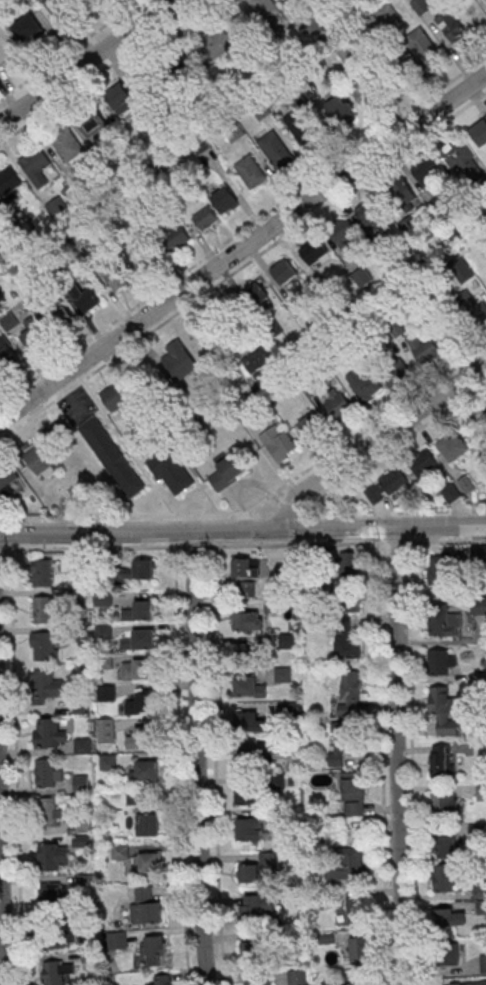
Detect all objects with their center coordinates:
road: (483, 4)
building: (421, 5)
building: (261, 7)
building: (388, 13)
building: (451, 25)
building: (28, 28)
building: (7, 43)
building: (229, 44)
building: (423, 47)
road: (69, 49)
road: (87, 62)
road: (99, 71)
building: (369, 90)
building: (122, 99)
building: (341, 111)
building: (304, 122)
building: (480, 133)
building: (69, 144)
building: (276, 150)
building: (462, 160)
building: (37, 162)
building: (251, 171)
building: (428, 173)
building: (11, 181)
building: (402, 193)
building: (225, 199)
building: (371, 211)
building: (206, 217)
road: (242, 229)
building: (343, 234)
building: (176, 237)
road: (243, 249)
building: (314, 251)
road: (243, 264)
building: (284, 272)
building: (114, 275)
building: (254, 298)
building: (89, 299)
building: (465, 309)
building: (425, 344)
building: (257, 359)
building: (177, 363)
building: (368, 388)
building: (115, 397)
building: (342, 405)
building: (309, 427)
road: (376, 441)
road: (395, 445)
building: (281, 446)
building: (453, 447)
building: (112, 457)
building: (40, 461)
building: (426, 464)
building: (173, 472)
building: (228, 472)
building: (8, 479)
building: (465, 484)
building: (386, 486)
building: (450, 492)
road: (264, 497)
road: (268, 505)
road: (305, 510)
road: (393, 510)
road: (289, 512)
road: (243, 529)
road: (406, 531)
road: (377, 532)
road: (175, 535)
road: (444, 540)
road: (392, 541)
road: (294, 544)
road: (192, 545)
road: (92, 548)
road: (2, 550)
building: (349, 563)
building: (245, 566)
building: (439, 569)
building: (136, 570)
building: (42, 573)
building: (244, 589)
building: (350, 601)
building: (44, 609)
building: (140, 609)
building: (247, 620)
building: (445, 623)
building: (347, 638)
building: (45, 645)
building: (246, 653)
building: (440, 660)
building: (138, 669)
building: (283, 674)
building: (49, 684)
building: (248, 687)
building: (106, 692)
building: (349, 692)
building: (142, 703)
building: (445, 709)
building: (251, 722)
building: (50, 731)
building: (142, 738)
building: (344, 741)
building: (82, 745)
road: (197, 756)
road: (397, 757)
building: (251, 759)
road: (382, 760)
road: (412, 760)
building: (439, 760)
road: (180, 763)
road: (217, 765)
road: (18, 768)
building: (143, 770)
building: (47, 773)
building: (481, 792)
building: (252, 793)
building: (136, 796)
building: (352, 796)
building: (445, 803)
building: (50, 810)
building: (148, 824)
building: (250, 829)
building: (447, 843)
building: (120, 851)
road: (3, 853)
building: (53, 855)
building: (354, 859)
building: (146, 863)
building: (259, 869)
building: (445, 877)
building: (51, 893)
building: (144, 905)
building: (257, 906)
building: (357, 912)
building: (450, 916)
building: (55, 939)
building: (155, 947)
building: (360, 949)
building: (251, 951)
building: (450, 953)
building: (483, 963)
building: (54, 973)
building: (297, 976)
building: (365, 977)
building: (161, 979)
building: (258, 982)
building: (469, 983)

